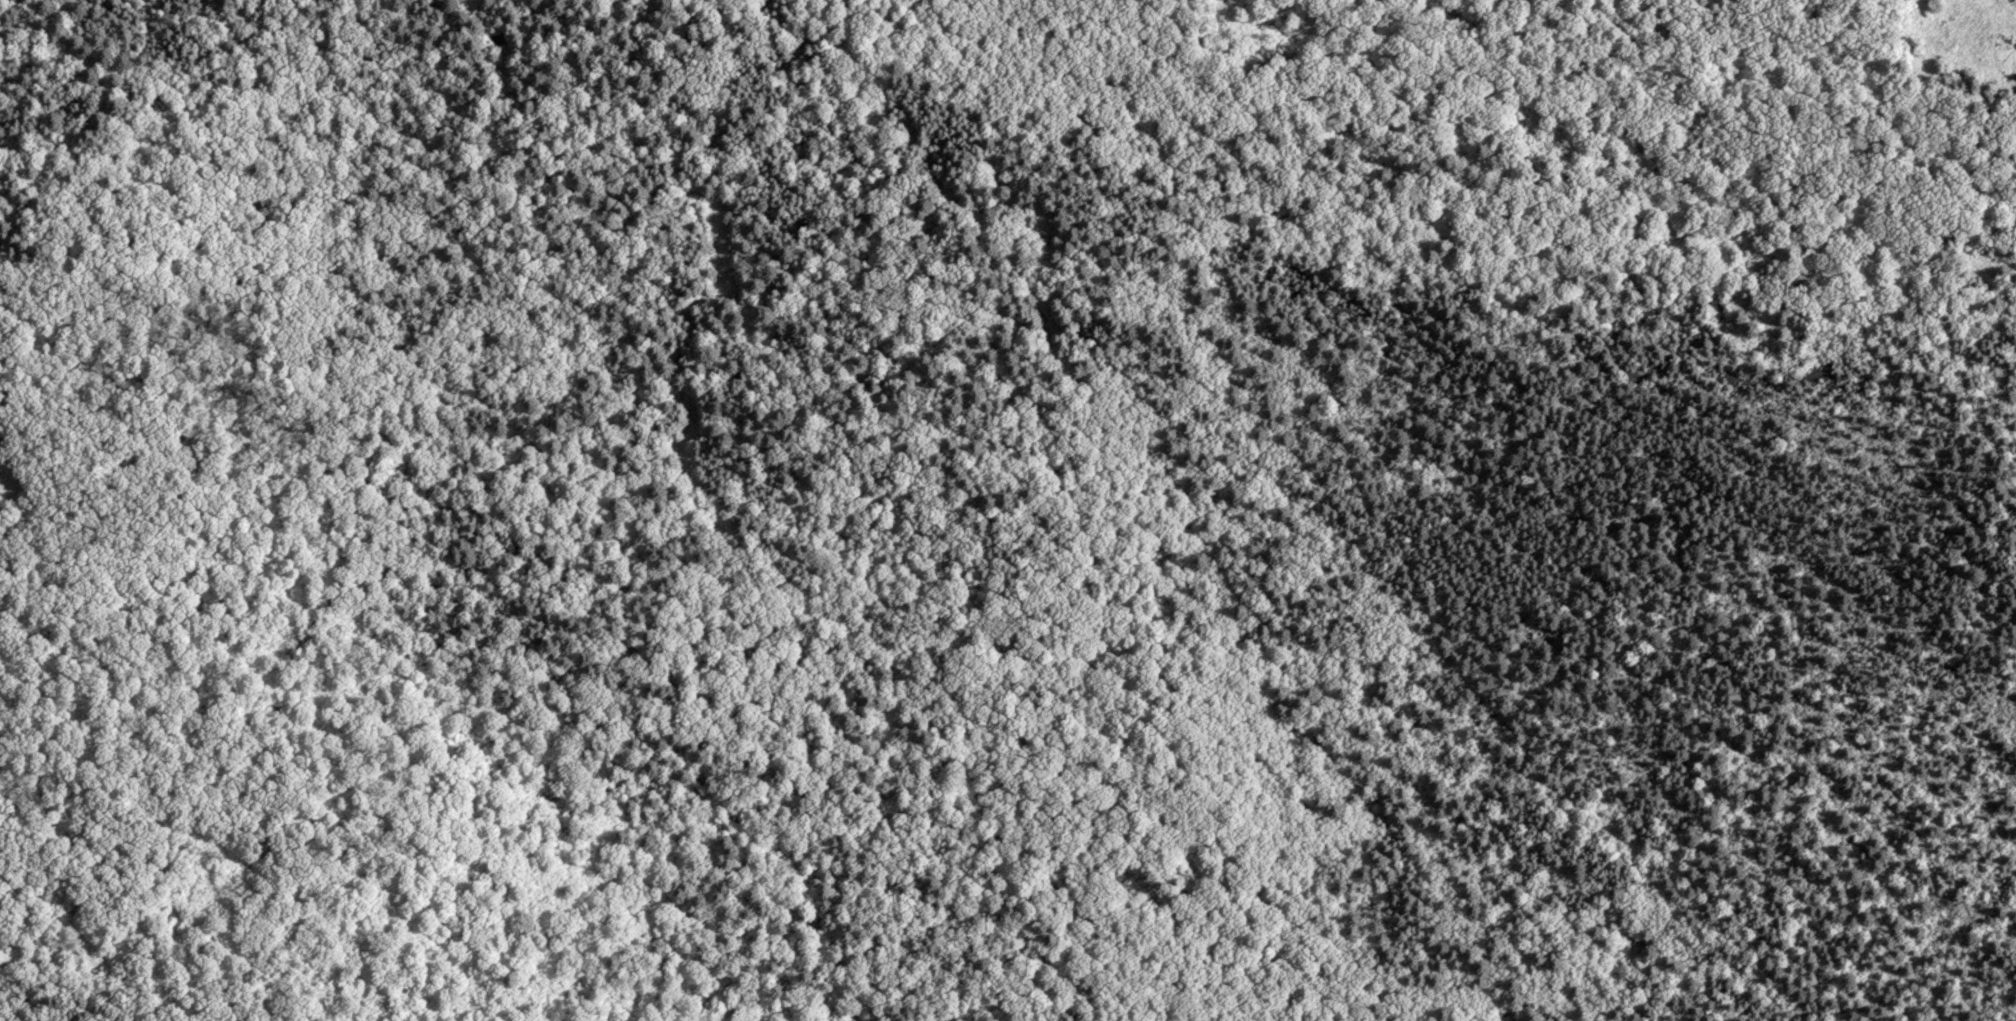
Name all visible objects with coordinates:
road: (160, 195)

